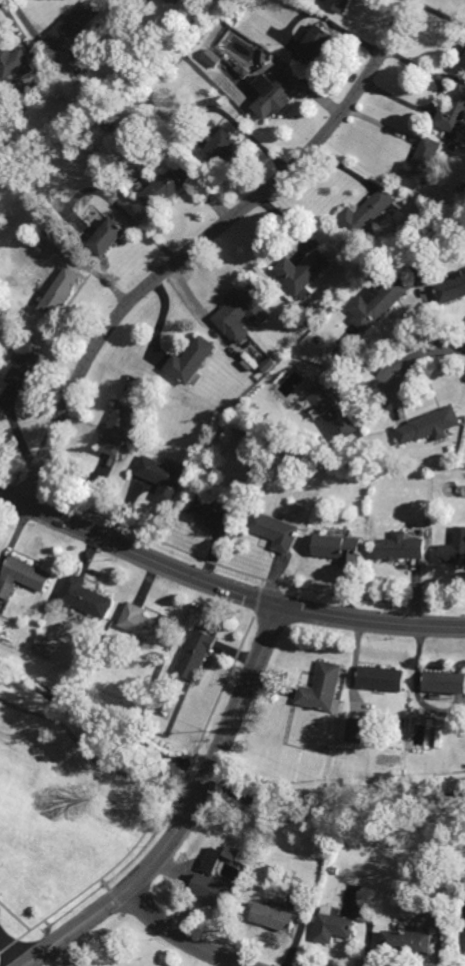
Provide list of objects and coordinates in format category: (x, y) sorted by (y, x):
building: (170, 0)
building: (338, 4)
building: (73, 26)
building: (313, 46)
building: (464, 55)
building: (213, 58)
building: (16, 63)
building: (464, 65)
building: (81, 86)
building: (64, 98)
building: (275, 99)
building: (453, 113)
building: (454, 147)
building: (220, 149)
building: (421, 164)
building: (167, 190)
building: (429, 207)
building: (367, 215)
building: (109, 239)
road: (201, 242)
building: (303, 270)
building: (424, 274)
building: (452, 288)
building: (58, 301)
building: (377, 302)
building: (242, 311)
road: (426, 353)
building: (190, 358)
building: (24, 366)
building: (333, 412)
building: (429, 425)
building: (118, 429)
building: (161, 477)
building: (200, 496)
building: (241, 512)
building: (211, 515)
building: (276, 529)
building: (400, 548)
building: (454, 548)
building: (339, 549)
building: (22, 577)
road: (225, 587)
building: (85, 597)
building: (143, 624)
building: (196, 653)
building: (381, 678)
building: (445, 681)
building: (322, 687)
building: (404, 722)
building: (356, 731)
building: (328, 749)
road: (92, 759)
park: (75, 773)
road: (189, 815)
building: (210, 864)
building: (335, 870)
building: (286, 876)
building: (213, 892)
building: (276, 918)
building: (334, 927)
road: (180, 936)
building: (464, 936)
building: (408, 944)
road: (12, 953)

